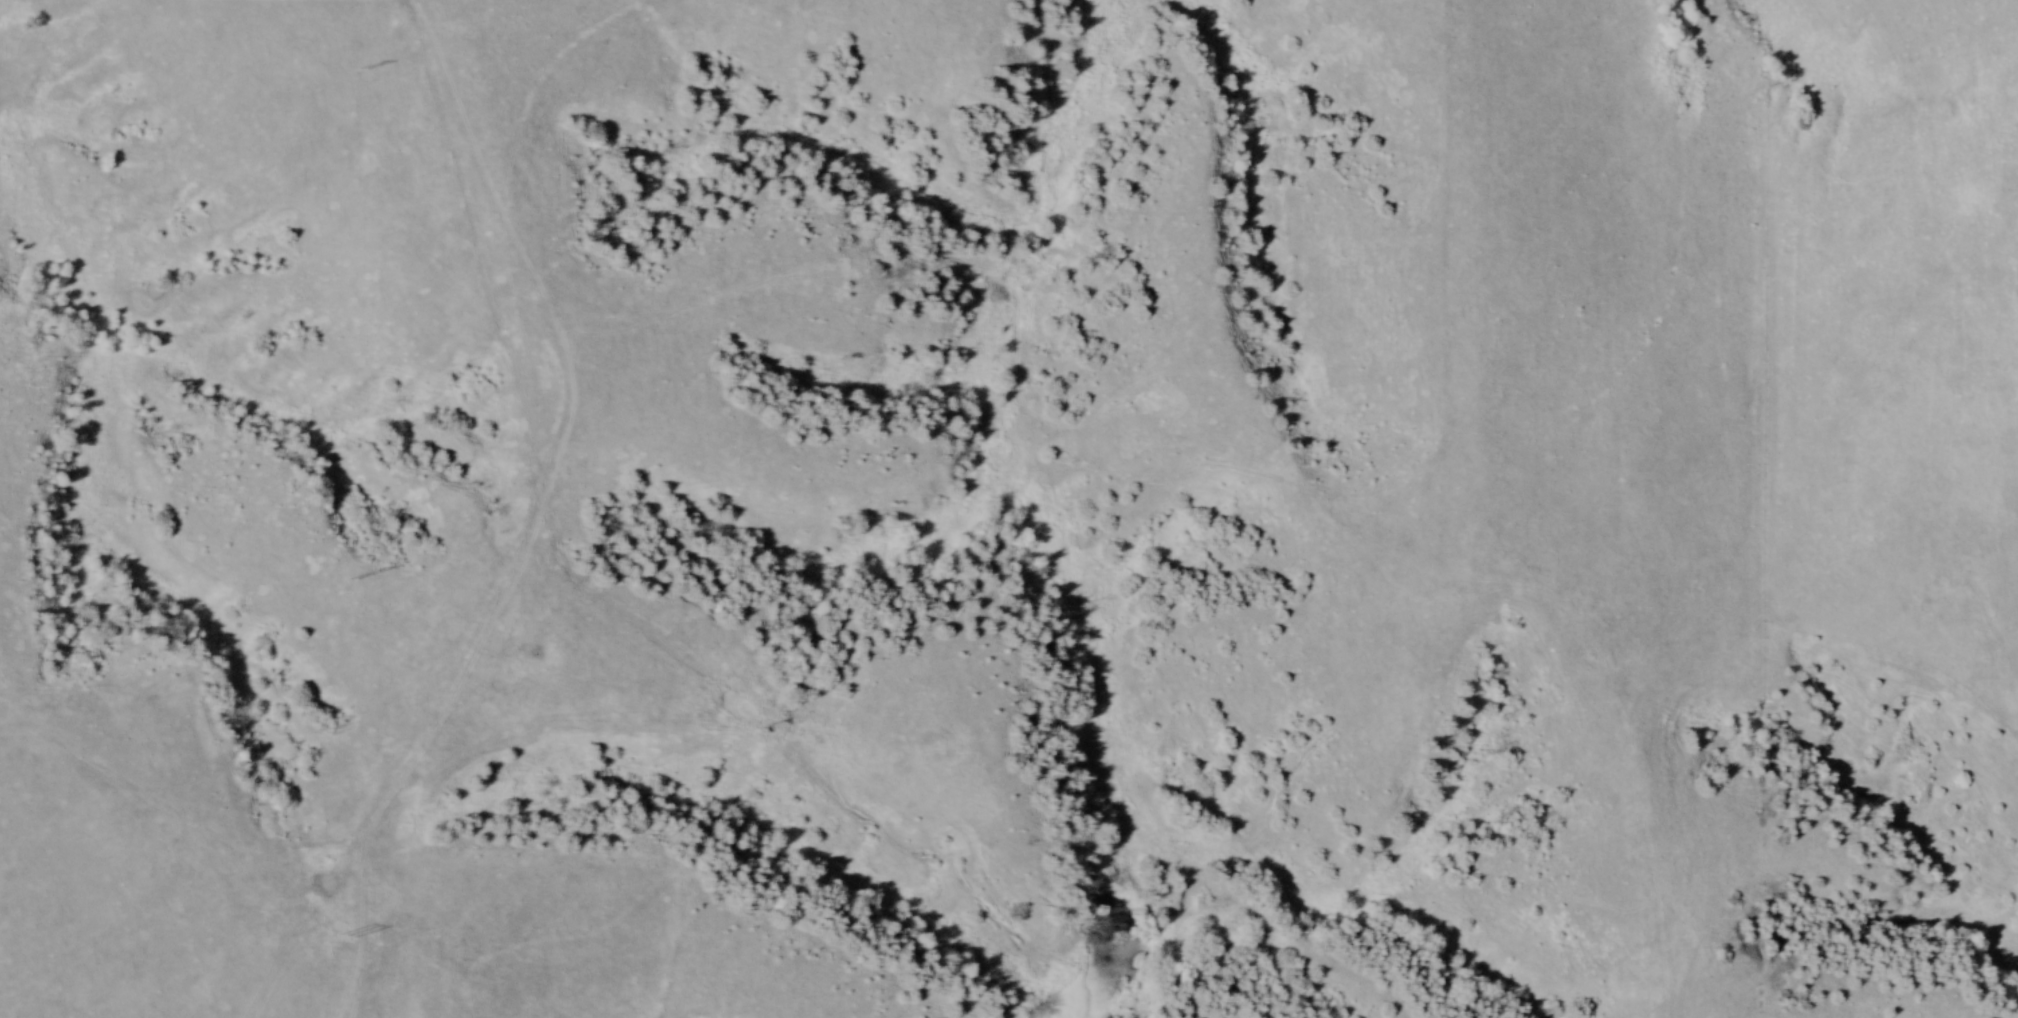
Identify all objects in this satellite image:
power tower: (360, 70)
power tower: (350, 581)
power tower: (345, 938)

